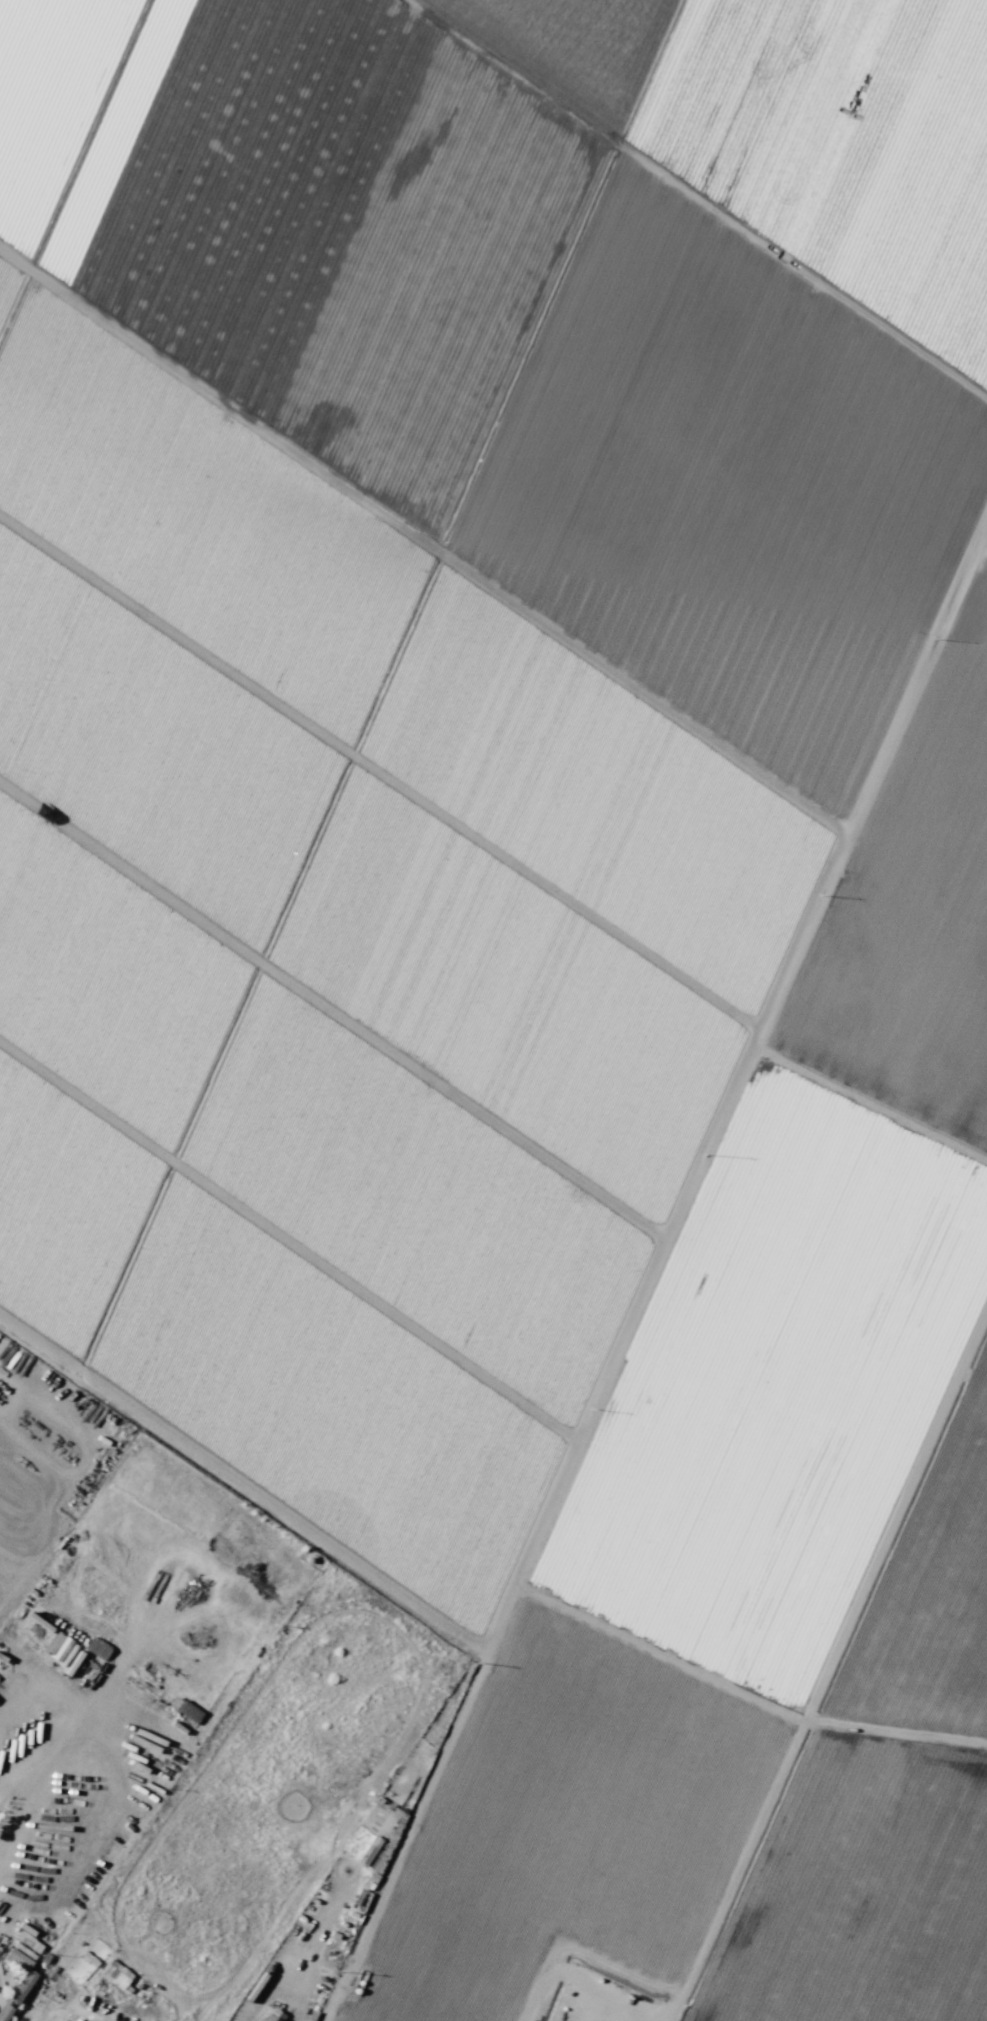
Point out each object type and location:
crop: (525, 921)
building: (56, 1645)
building: (96, 1648)
building: (184, 1709)
building: (375, 1831)
building: (375, 1864)
building: (115, 1973)
building: (21, 1986)
road: (274, 1987)

